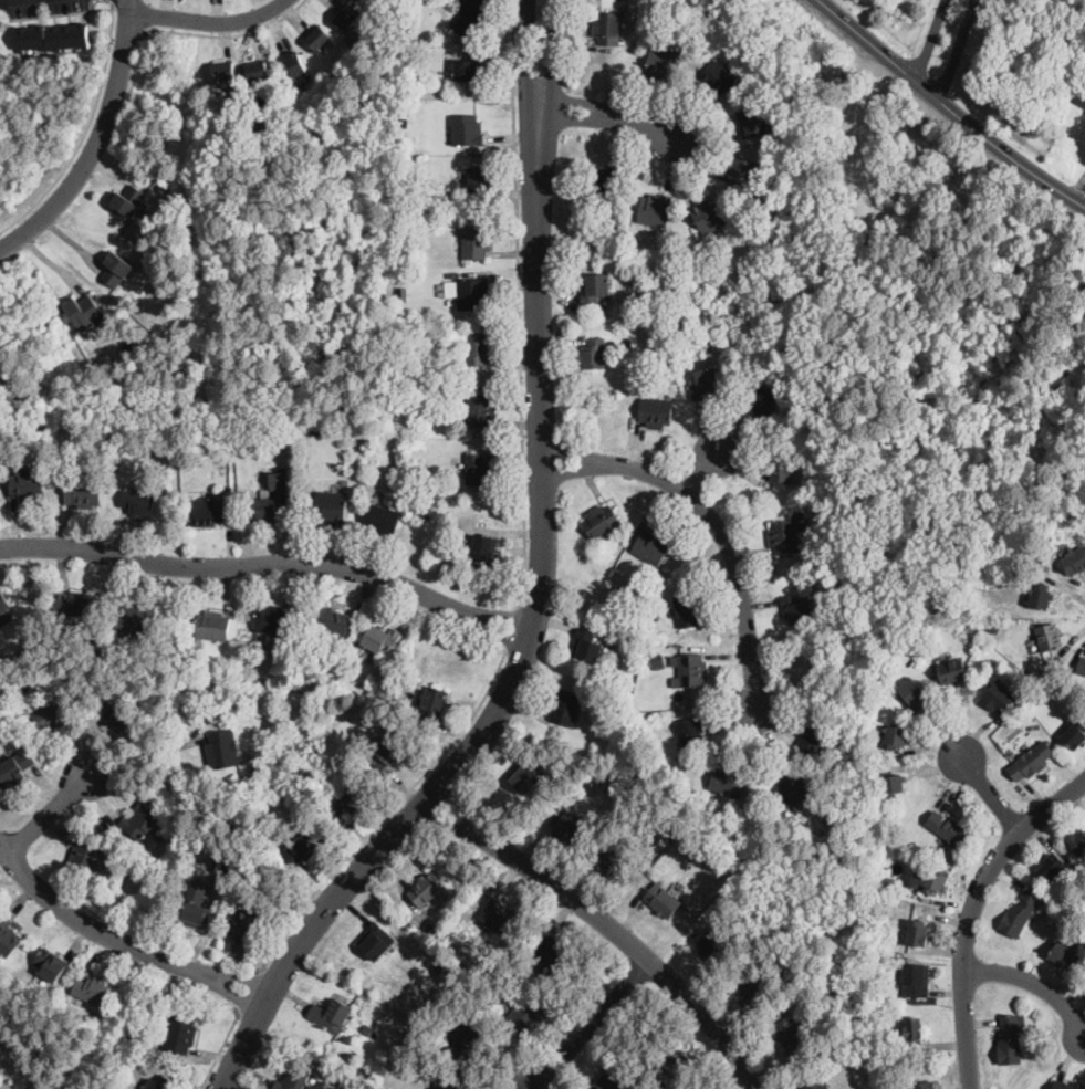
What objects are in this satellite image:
road: (112, 1)
road: (127, 6)
building: (645, 11)
road: (61, 12)
building: (471, 15)
building: (345, 18)
road: (207, 20)
building: (607, 28)
road: (127, 33)
road: (223, 33)
building: (406, 34)
building: (54, 38)
building: (319, 39)
road: (941, 44)
building: (405, 48)
road: (553, 57)
road: (525, 59)
building: (664, 63)
building: (296, 65)
building: (469, 67)
building: (222, 71)
building: (258, 71)
building: (719, 76)
building: (1081, 96)
road: (948, 106)
building: (404, 112)
road: (606, 117)
building: (752, 123)
building: (466, 129)
road: (84, 132)
road: (94, 146)
building: (815, 163)
building: (406, 170)
building: (741, 172)
building: (478, 178)
building: (603, 179)
building: (129, 198)
building: (655, 209)
building: (709, 216)
building: (772, 233)
building: (476, 242)
building: (663, 245)
building: (723, 258)
road: (51, 261)
building: (117, 268)
building: (401, 281)
building: (769, 281)
building: (595, 287)
building: (472, 293)
road: (518, 302)
building: (83, 310)
building: (611, 323)
building: (159, 329)
building: (691, 333)
building: (478, 348)
building: (593, 353)
building: (424, 365)
building: (705, 381)
building: (430, 386)
building: (760, 398)
building: (480, 409)
building: (656, 411)
building: (234, 422)
building: (317, 422)
building: (9, 429)
building: (281, 430)
building: (317, 430)
building: (42, 433)
building: (781, 465)
building: (405, 470)
building: (477, 470)
building: (422, 479)
building: (278, 480)
building: (28, 486)
building: (83, 492)
building: (138, 503)
building: (331, 506)
building: (264, 509)
building: (207, 511)
building: (424, 511)
building: (380, 520)
building: (599, 521)
road: (712, 524)
building: (782, 536)
building: (651, 546)
building: (483, 547)
building: (822, 557)
building: (1074, 559)
road: (270, 566)
building: (618, 593)
building: (1040, 596)
building: (3, 601)
building: (74, 604)
building: (686, 609)
building: (796, 610)
building: (129, 619)
building: (272, 619)
building: (332, 620)
building: (212, 625)
road: (512, 626)
building: (994, 627)
building: (382, 637)
building: (1049, 637)
building: (587, 646)
road: (523, 650)
building: (22, 655)
building: (153, 655)
building: (658, 659)
building: (1066, 662)
building: (409, 663)
building: (1082, 666)
building: (691, 669)
building: (950, 671)
building: (209, 679)
building: (127, 687)
building: (912, 692)
building: (997, 697)
building: (326, 702)
building: (434, 704)
building: (565, 706)
building: (105, 708)
building: (50, 715)
building: (1020, 715)
building: (124, 719)
building: (690, 733)
building: (1073, 734)
building: (895, 736)
building: (815, 737)
building: (222, 750)
building: (388, 754)
road: (144, 756)
building: (1031, 761)
building: (15, 767)
building: (293, 769)
building: (524, 775)
building: (250, 778)
building: (729, 782)
building: (894, 784)
building: (844, 787)
building: (792, 789)
road: (988, 789)
building: (342, 802)
road: (385, 811)
road: (48, 813)
building: (143, 820)
building: (566, 828)
building: (190, 829)
building: (951, 830)
building: (1078, 842)
building: (303, 847)
building: (85, 858)
building: (609, 859)
building: (1052, 867)
building: (933, 881)
building: (680, 884)
building: (898, 886)
building: (426, 889)
building: (663, 901)
building: (1041, 909)
road: (969, 911)
building: (194, 913)
building: (1020, 913)
building: (498, 917)
building: (248, 920)
road: (609, 926)
building: (430, 929)
building: (916, 933)
building: (7, 936)
road: (119, 940)
building: (375, 941)
building: (716, 945)
building: (550, 951)
building: (1066, 955)
building: (51, 965)
building: (916, 980)
road: (1030, 982)
building: (755, 988)
building: (92, 989)
road: (247, 992)
building: (851, 1003)
building: (331, 1013)
building: (525, 1014)
road: (593, 1026)
building: (367, 1028)
building: (914, 1030)
building: (180, 1034)
building: (461, 1035)
building: (791, 1036)
building: (1010, 1039)
road: (220, 1046)
building: (41, 1049)
building: (1041, 1053)
building: (675, 1060)
building: (293, 1078)
building: (446, 1081)
building: (612, 1081)
building: (159, 1082)
building: (815, 1082)
building: (924, 1085)
building: (1066, 1085)

